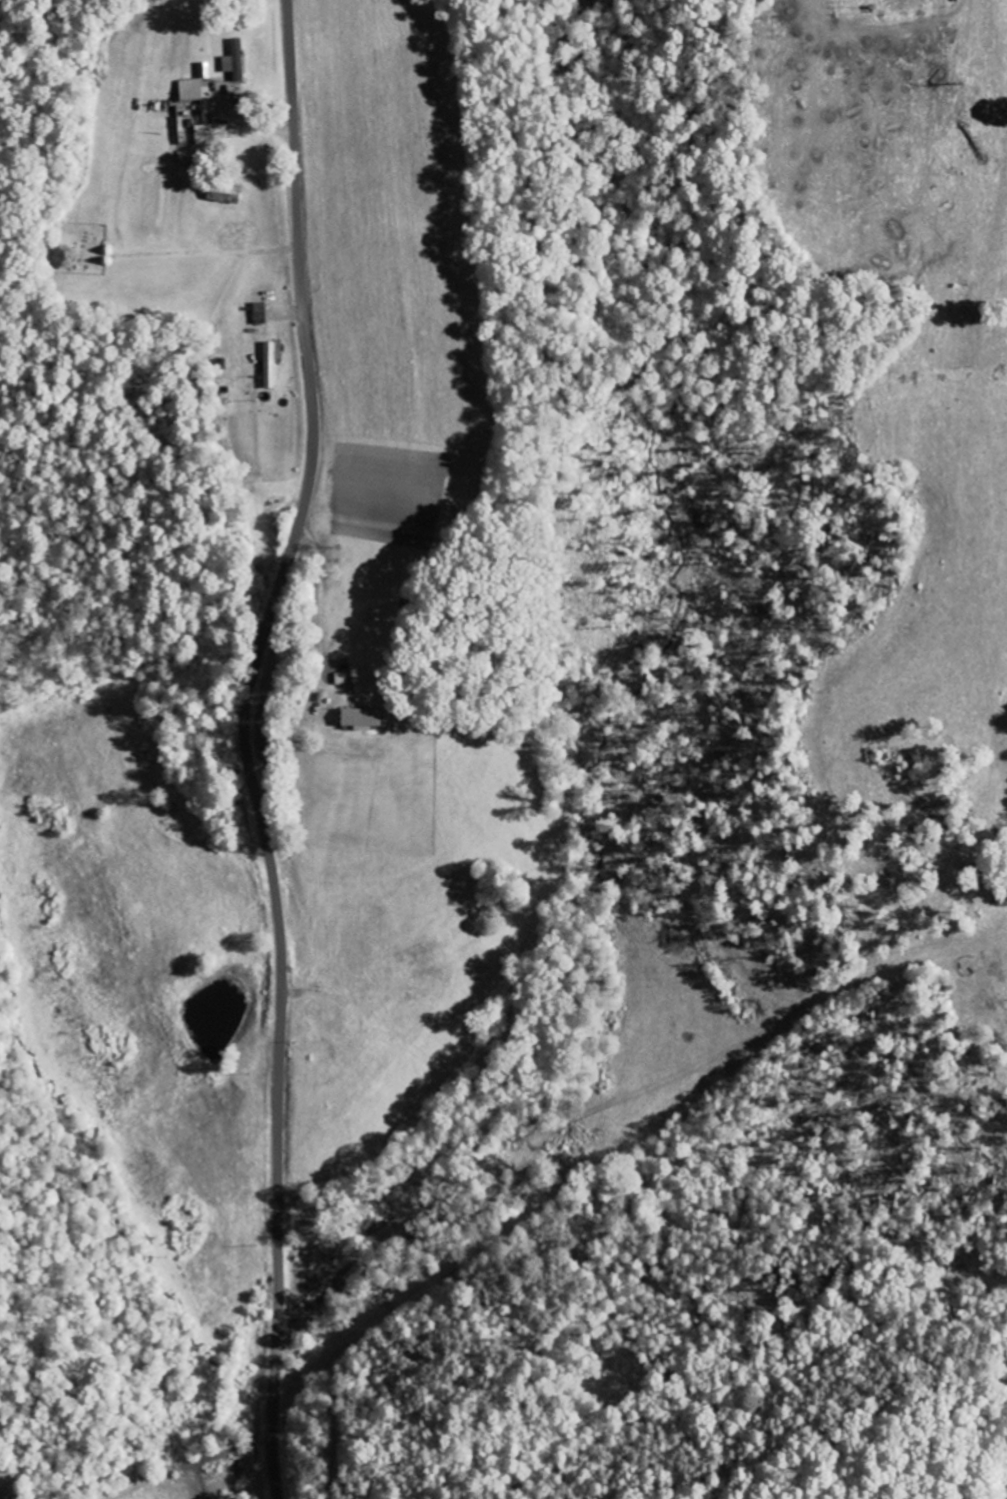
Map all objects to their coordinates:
building: (235, 62)
building: (191, 91)
building: (224, 195)
building: (260, 311)
building: (271, 362)
building: (362, 717)
road: (246, 745)

